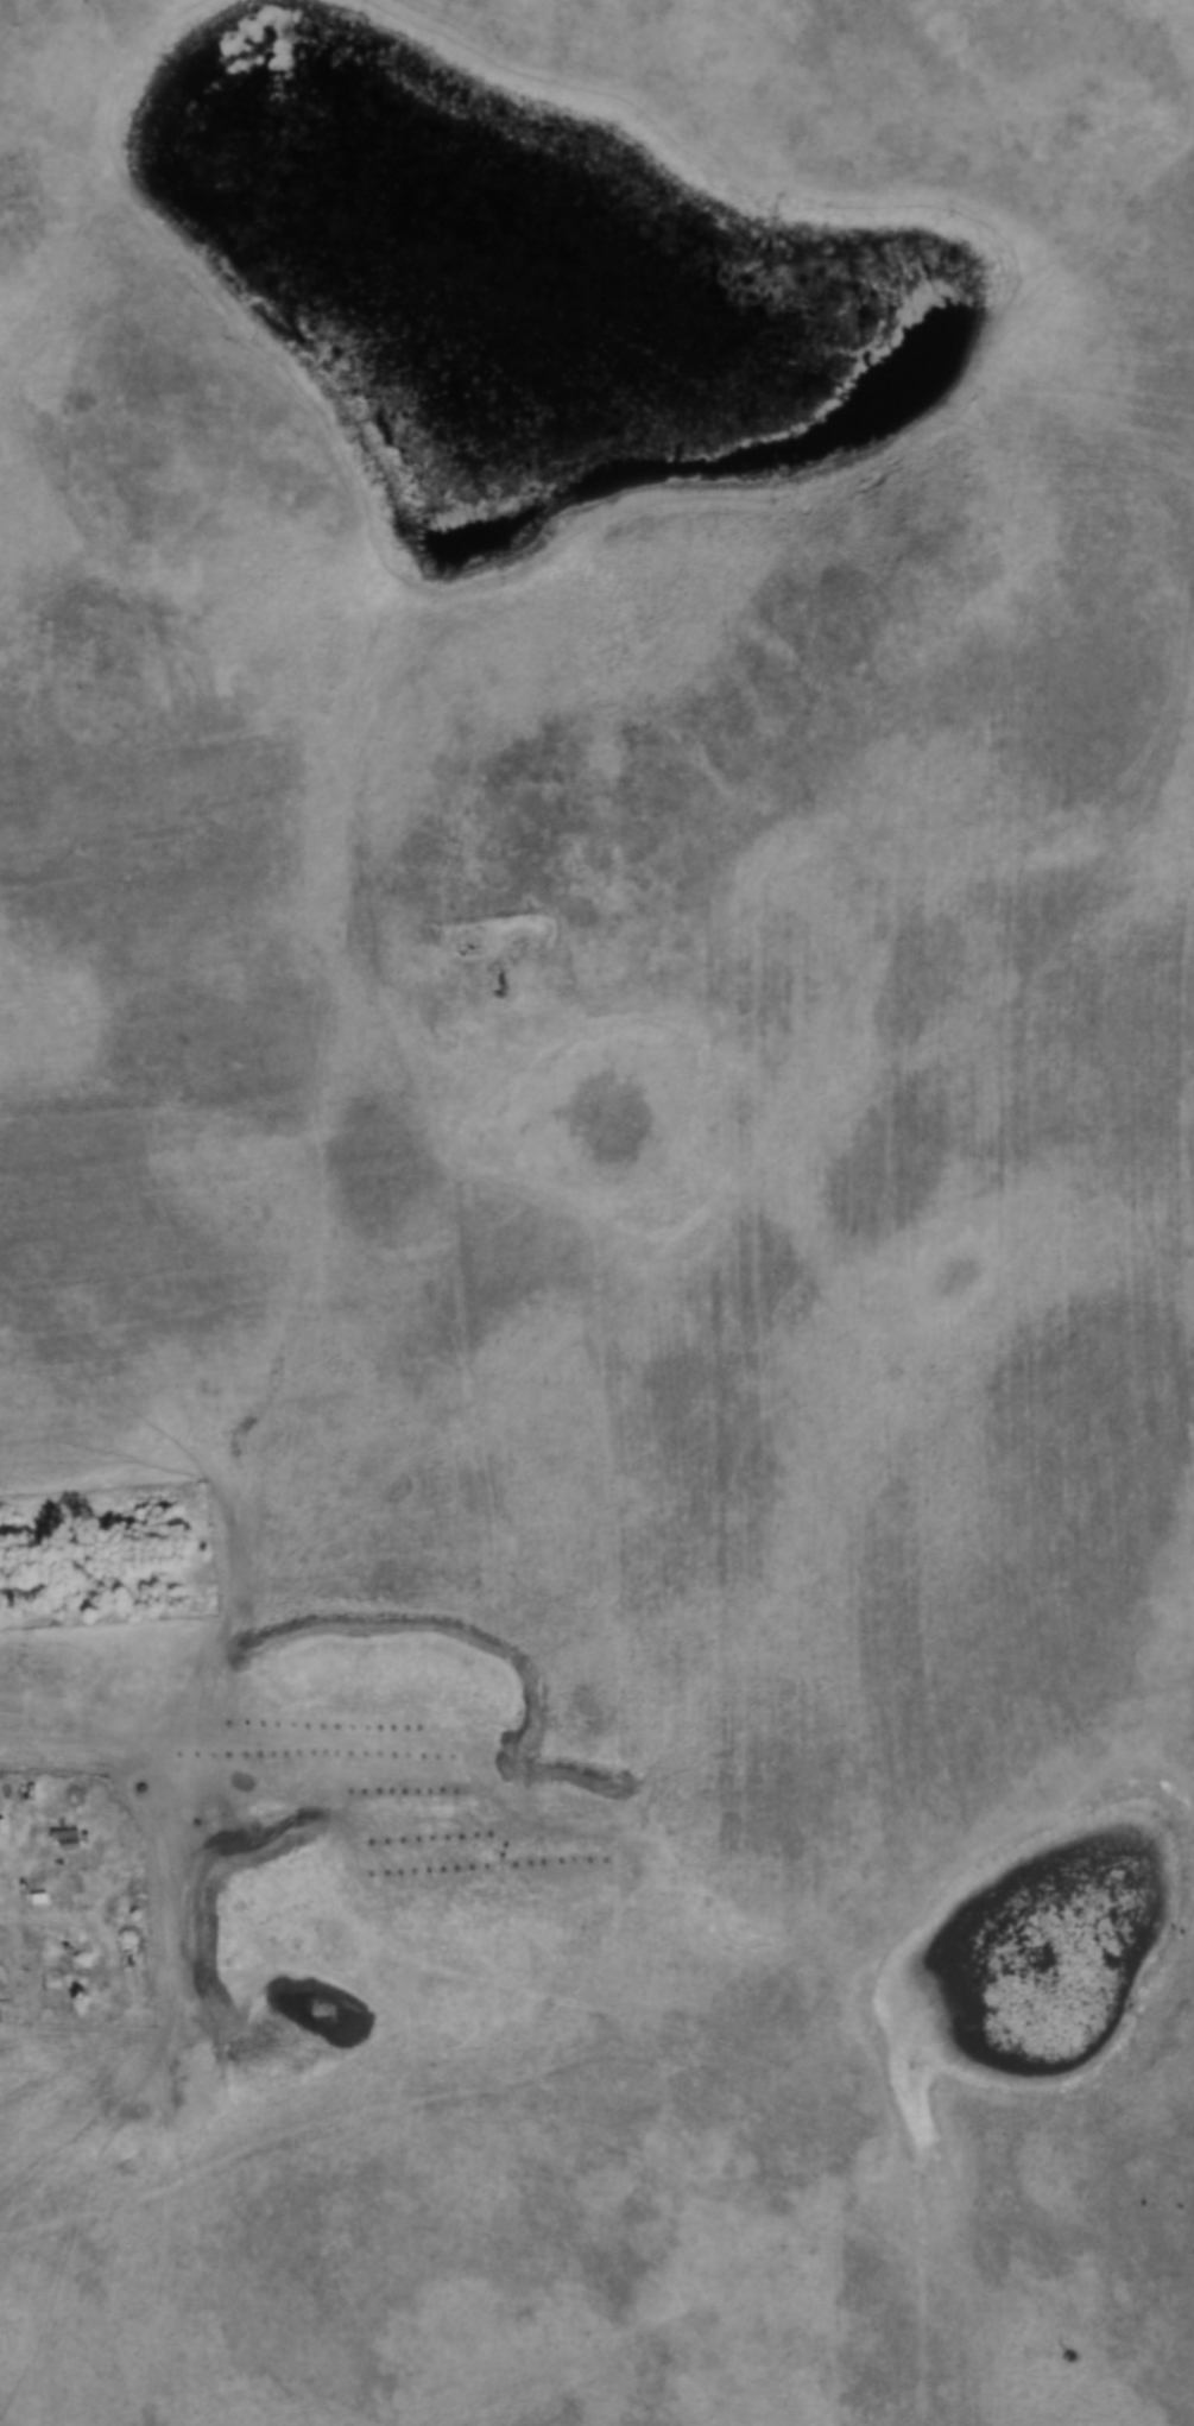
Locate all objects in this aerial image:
building: (64, 1841)
road: (4, 1938)

